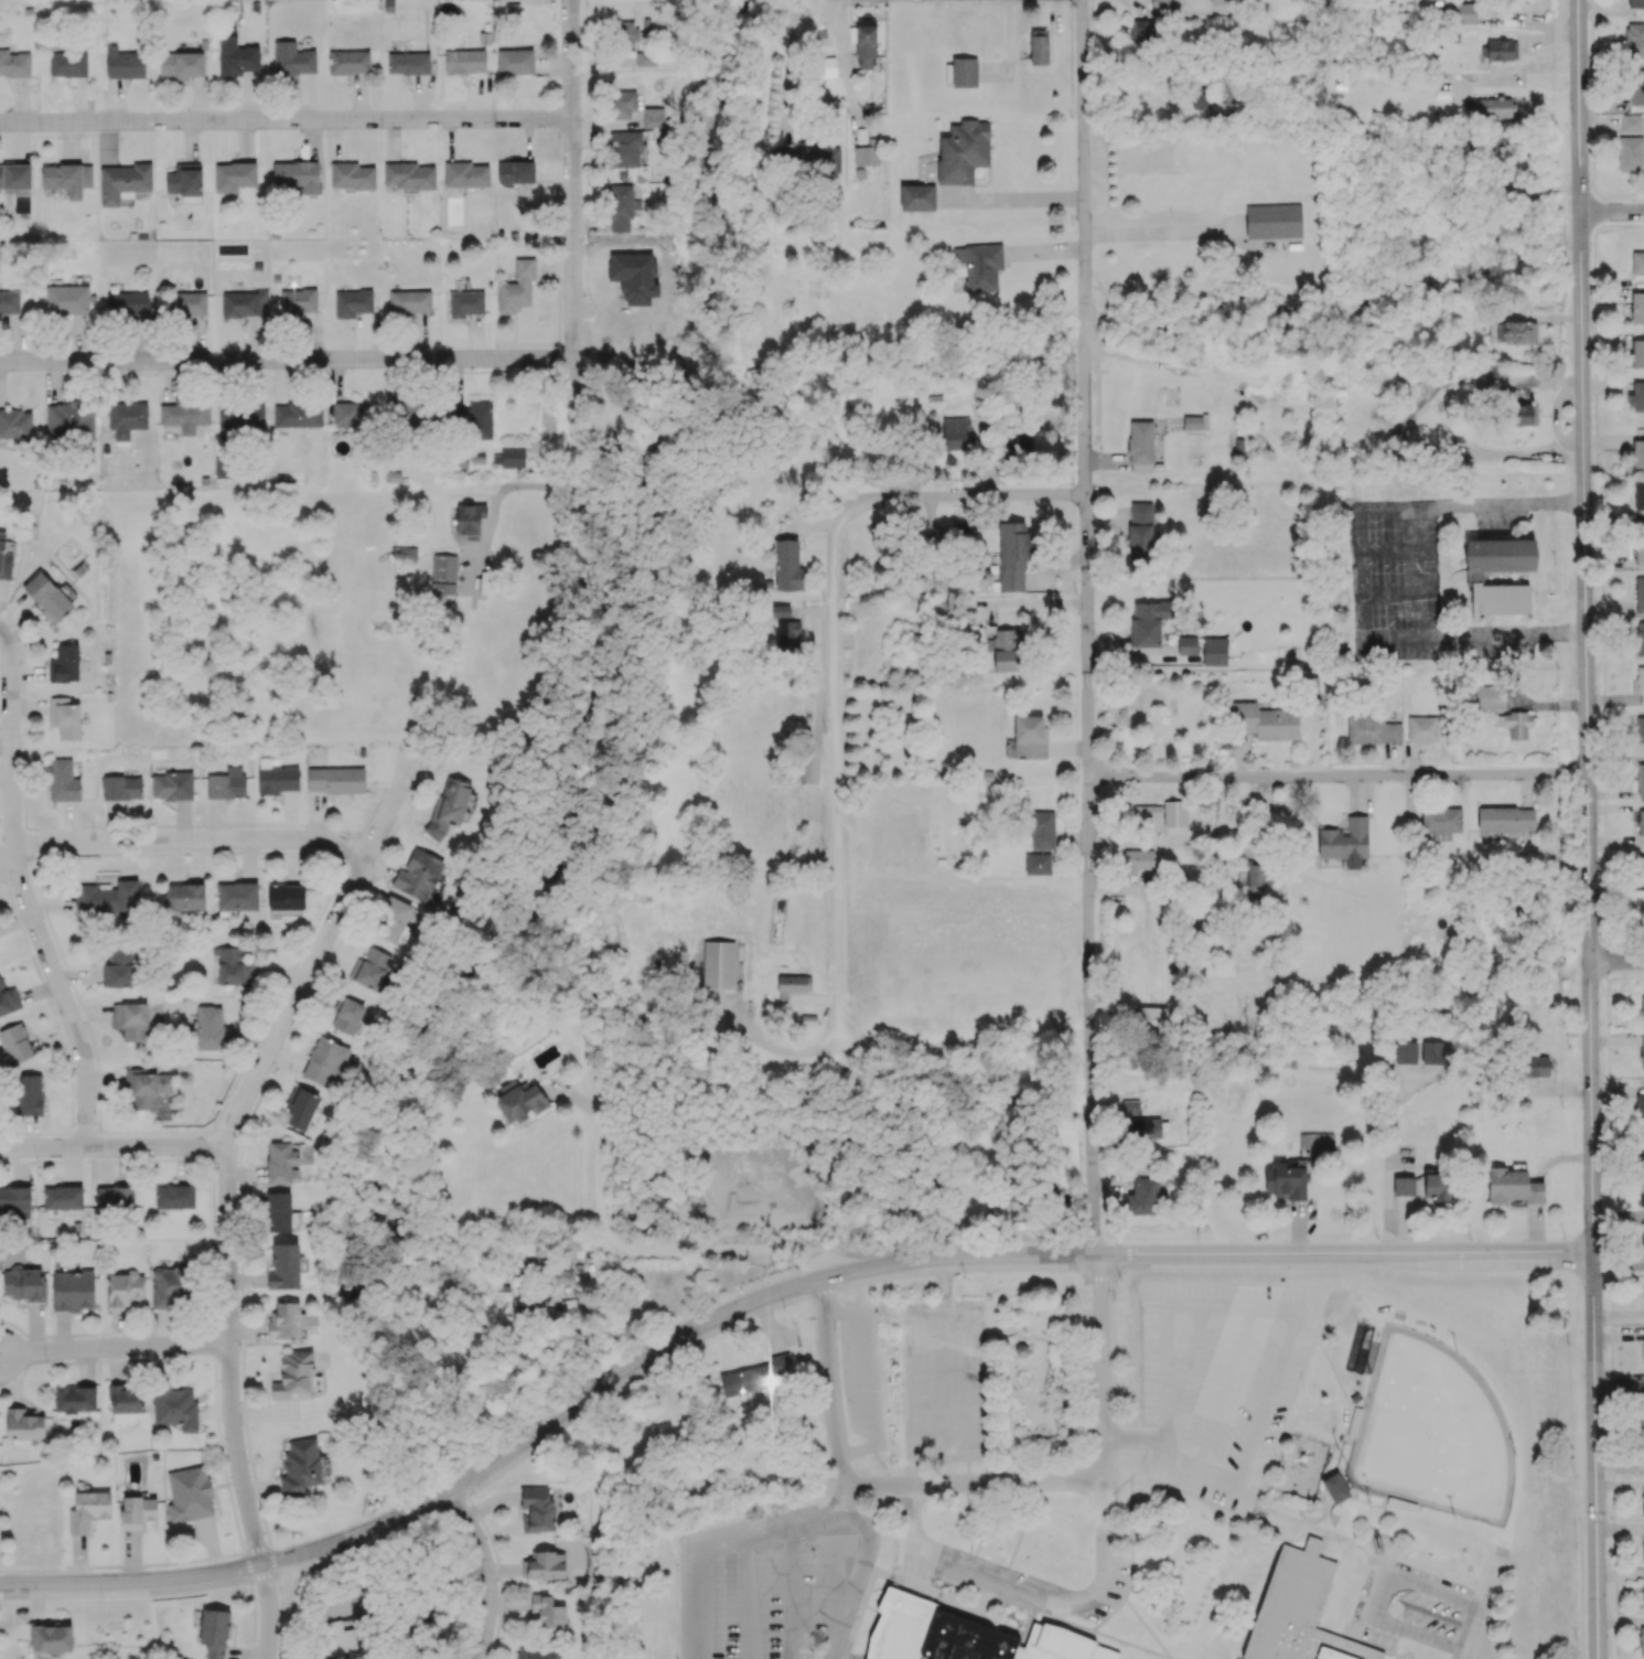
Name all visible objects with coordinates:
road: (893, 0)
road: (913, 0)
building: (1222, 1)
building: (1163, 3)
building: (1635, 3)
building: (1464, 12)
building: (1141, 30)
building: (625, 34)
building: (1634, 40)
building: (864, 43)
building: (1038, 46)
building: (1501, 50)
building: (237, 57)
building: (292, 58)
building: (644, 58)
building: (464, 61)
building: (348, 62)
building: (514, 62)
building: (14, 63)
building: (123, 63)
building: (408, 63)
building: (67, 64)
building: (181, 64)
road: (846, 68)
building: (964, 72)
building: (1635, 87)
building: (1201, 97)
building: (621, 104)
building: (1491, 107)
road: (1580, 108)
building: (656, 117)
road: (286, 121)
building: (1632, 124)
building: (1504, 140)
building: (625, 149)
building: (963, 151)
building: (1630, 153)
building: (866, 154)
building: (817, 158)
building: (515, 171)
building: (297, 174)
building: (465, 174)
building: (234, 175)
building: (351, 175)
building: (408, 175)
building: (15, 178)
building: (66, 178)
building: (184, 179)
building: (122, 181)
road: (1027, 195)
building: (916, 196)
building: (21, 203)
building: (621, 208)
road: (1612, 216)
road: (573, 221)
building: (1272, 221)
road: (1160, 232)
building: (1637, 263)
building: (979, 266)
building: (516, 287)
building: (66, 299)
building: (298, 300)
building: (409, 301)
building: (9, 302)
building: (352, 302)
building: (129, 303)
building: (189, 303)
building: (245, 303)
building: (465, 303)
building: (1637, 307)
building: (1515, 332)
building: (1636, 353)
road: (287, 362)
building: (1636, 397)
building: (1517, 408)
building: (185, 415)
building: (297, 415)
building: (347, 415)
building: (416, 416)
building: (126, 418)
building: (240, 418)
building: (471, 419)
building: (68, 420)
building: (1191, 422)
building: (15, 424)
building: (955, 434)
building: (1016, 440)
building: (1140, 447)
building: (1637, 453)
building: (512, 456)
building: (225, 467)
road: (536, 489)
building: (1638, 496)
road: (856, 512)
building: (470, 520)
building: (961, 528)
building: (1140, 532)
building: (1638, 548)
building: (404, 552)
building: (1012, 555)
building: (6, 556)
building: (787, 565)
road: (1415, 569)
building: (443, 574)
building: (1473, 578)
parking lot: (1420, 581)
building: (1638, 595)
building: (46, 597)
building: (1148, 622)
road: (1089, 628)
building: (783, 629)
building: (1640, 639)
building: (1186, 645)
building: (1007, 650)
building: (1214, 651)
building: (64, 664)
building: (1641, 685)
building: (1490, 695)
building: (64, 717)
building: (1264, 721)
building: (1514, 723)
building: (1640, 728)
building: (1422, 729)
building: (1372, 730)
road: (1579, 735)
building: (1030, 737)
building: (277, 779)
road: (1335, 779)
building: (335, 780)
building: (1641, 780)
building: (63, 781)
building: (226, 783)
building: (172, 785)
building: (121, 788)
building: (449, 806)
building: (1174, 813)
building: (1505, 820)
building: (1441, 822)
building: (1641, 822)
building: (1041, 830)
building: (1344, 839)
road: (194, 841)
building: (1137, 860)
building: (1036, 864)
building: (1641, 868)
building: (420, 876)
building: (1255, 877)
road: (838, 891)
road: (28, 892)
building: (237, 896)
building: (286, 896)
building: (107, 897)
building: (184, 897)
building: (1642, 914)
building: (394, 919)
building: (1213, 946)
road: (1614, 962)
building: (229, 964)
building: (718, 964)
building: (118, 967)
building: (372, 967)
building: (792, 984)
building: (8, 999)
building: (1642, 1005)
building: (347, 1015)
building: (1152, 1018)
building: (131, 1020)
building: (208, 1027)
building: (15, 1042)
building: (1642, 1051)
building: (1405, 1052)
building: (1431, 1052)
building: (324, 1061)
building: (1534, 1066)
building: (144, 1085)
building: (29, 1094)
building: (519, 1101)
building: (1130, 1106)
building: (1640, 1106)
building: (301, 1107)
building: (1141, 1130)
road: (230, 1146)
building: (1642, 1146)
road: (115, 1149)
building: (281, 1162)
building: (1286, 1179)
building: (1421, 1186)
building: (1513, 1186)
building: (1146, 1196)
building: (174, 1197)
building: (62, 1198)
building: (115, 1198)
building: (1643, 1198)
building: (14, 1200)
building: (278, 1211)
building: (1643, 1248)
road: (1348, 1255)
road: (638, 1257)
building: (284, 1266)
building: (560, 1277)
building: (23, 1283)
building: (166, 1286)
building: (123, 1289)
building: (73, 1291)
building: (1643, 1291)
road: (1297, 1317)
building: (284, 1321)
building: (1643, 1344)
road: (116, 1349)
road: (662, 1350)
road: (1105, 1369)
road: (944, 1373)
building: (294, 1376)
building: (756, 1376)
parking lot: (862, 1379)
parking lot: (944, 1381)
parking lot: (1222, 1382)
road: (1226, 1389)
building: (75, 1399)
building: (126, 1402)
building: (174, 1406)
building: (24, 1424)
park: (1432, 1433)
road: (1132, 1436)
building: (1642, 1448)
road: (1595, 1456)
building: (300, 1466)
road: (874, 1486)
building: (1339, 1488)
building: (189, 1494)
building: (1643, 1500)
building: (537, 1508)
building: (88, 1510)
building: (138, 1512)
road: (1595, 1516)
traffic signals: (1597, 1516)
road: (734, 1541)
building: (1643, 1548)
building: (545, 1565)
road: (486, 1573)
road: (857, 1577)
parking lot: (1018, 1582)
road: (132, 1584)
parking lot: (763, 1584)
building: (1643, 1585)
road: (1030, 1594)
road: (1384, 1596)
road: (1483, 1605)
parking lot: (1414, 1609)
building: (1298, 1612)
road: (270, 1614)
building: (548, 1615)
building: (339, 1626)
building: (214, 1633)
building: (965, 1636)
building: (51, 1638)
building: (1641, 1640)
building: (538, 1652)
road: (1470, 1656)

